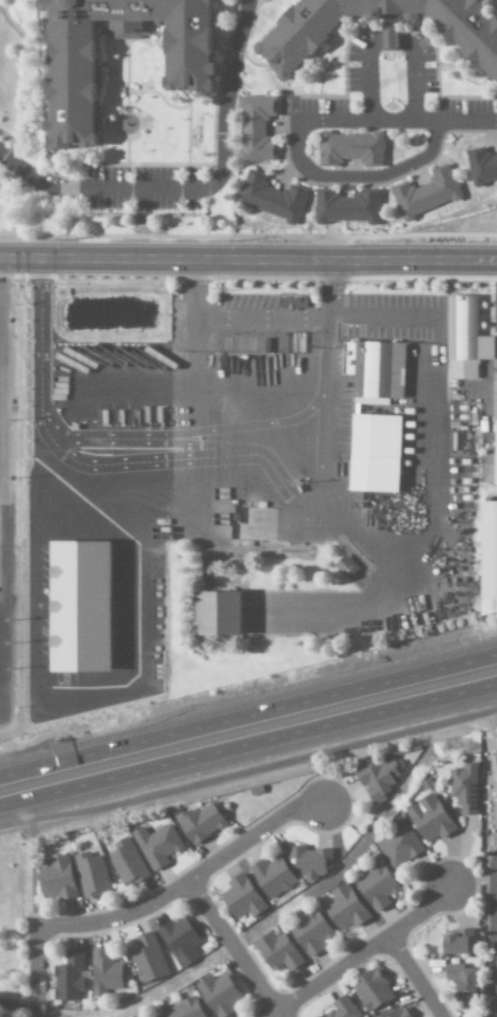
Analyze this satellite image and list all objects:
building: (186, 67)
building: (255, 130)
building: (350, 150)
building: (481, 167)
building: (425, 194)
building: (270, 198)
building: (346, 208)
road: (248, 258)
building: (291, 304)
building: (464, 338)
building: (374, 371)
road: (5, 388)
building: (494, 435)
building: (374, 453)
building: (488, 556)
building: (345, 566)
road: (6, 608)
building: (217, 613)
road: (248, 728)
building: (495, 761)
building: (379, 779)
building: (496, 779)
building: (464, 789)
building: (429, 819)
building: (200, 823)
building: (156, 845)
building: (397, 845)
building: (310, 861)
building: (126, 863)
building: (90, 874)
building: (271, 876)
building: (55, 879)
road: (186, 886)
building: (376, 887)
building: (242, 898)
road: (490, 901)
building: (344, 908)
building: (310, 933)
building: (181, 940)
building: (456, 943)
road: (234, 950)
building: (277, 952)
road: (364, 956)
building: (147, 959)
road: (37, 973)
building: (105, 973)
building: (69, 977)
road: (415, 977)
building: (461, 980)
road: (490, 982)
building: (371, 990)
building: (219, 995)
building: (342, 1008)
building: (186, 1009)
building: (398, 1013)
building: (158, 1016)

